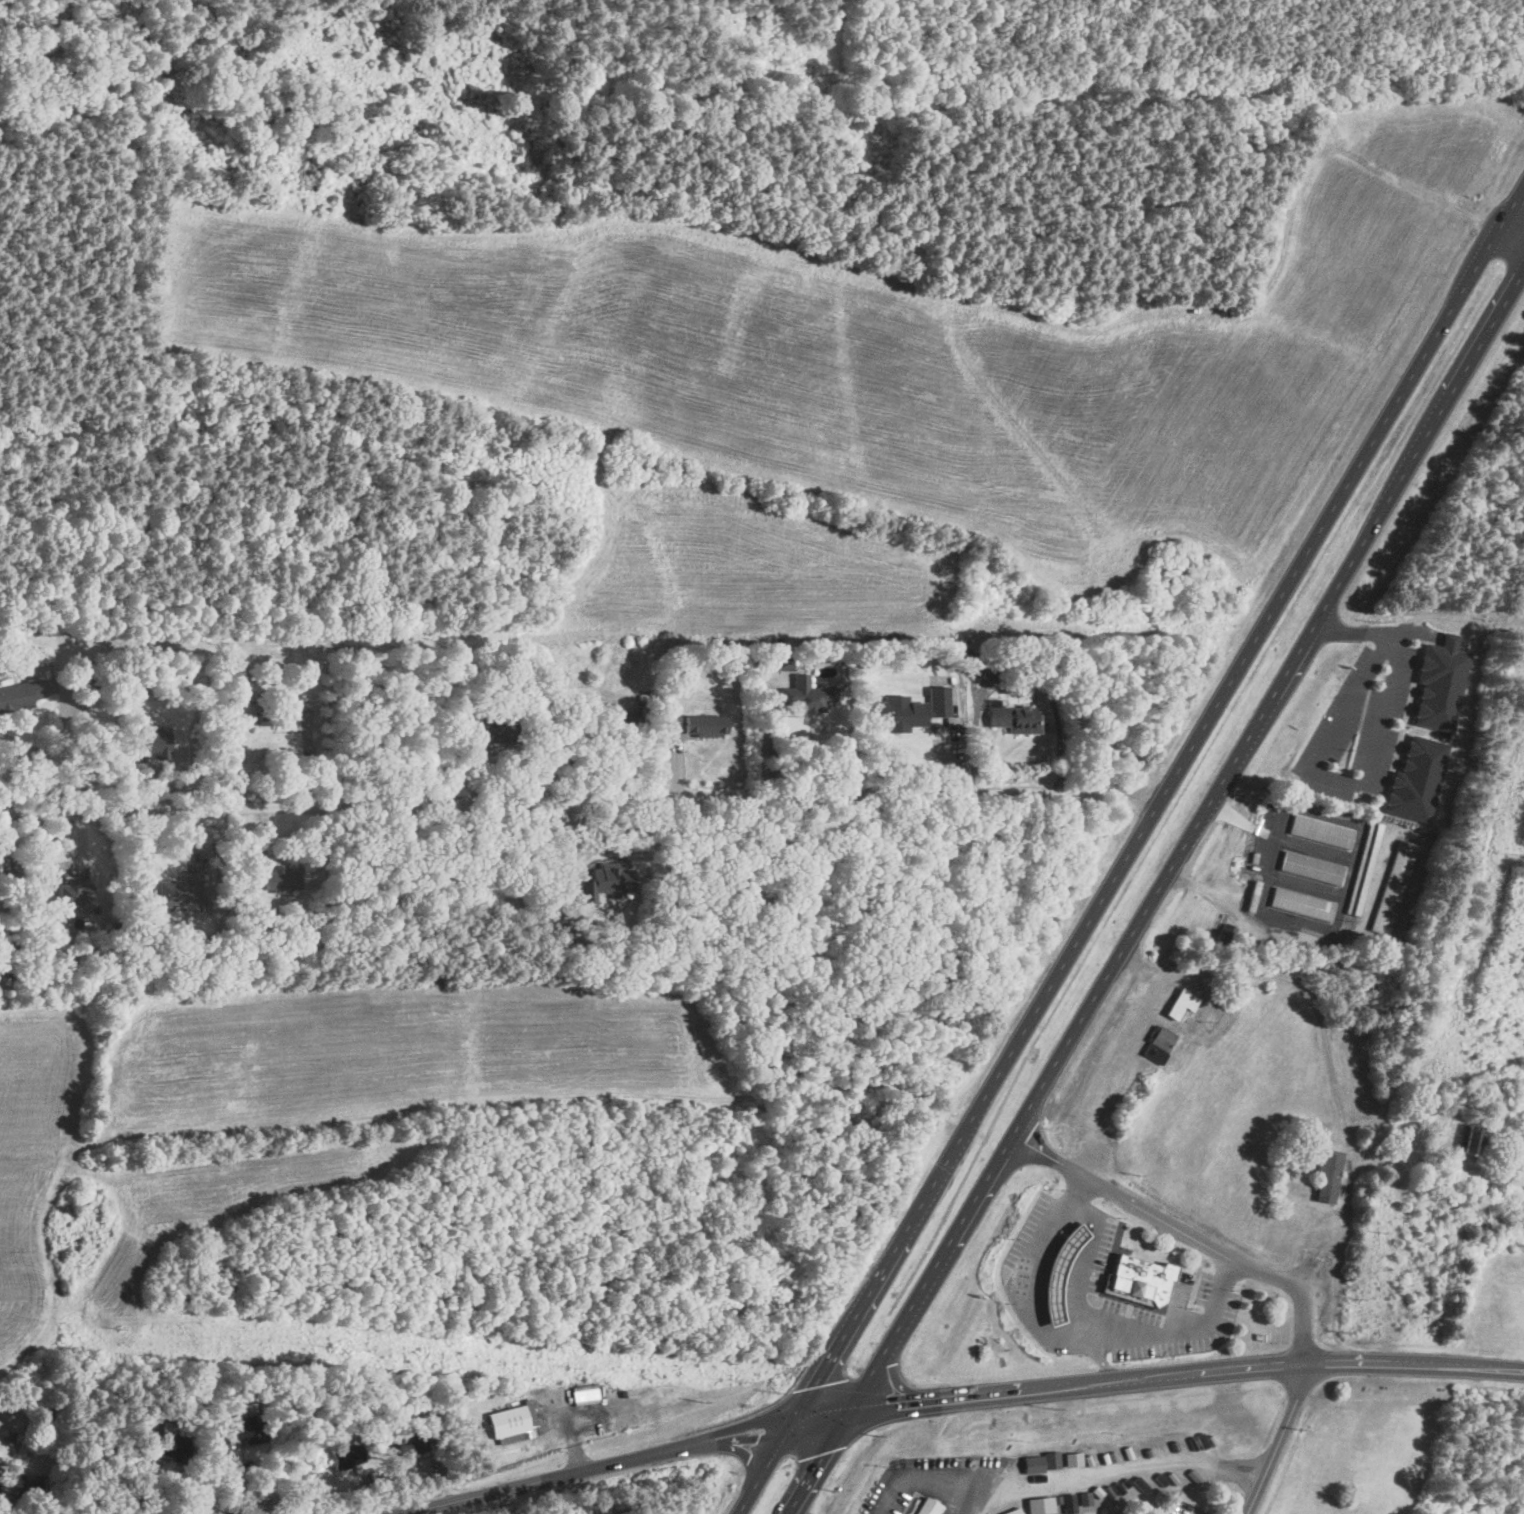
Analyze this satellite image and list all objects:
road: (1511, 234)
building: (778, 660)
building: (979, 662)
building: (85, 671)
road: (1016, 673)
building: (1440, 683)
building: (19, 694)
building: (807, 694)
building: (911, 709)
building: (272, 713)
building: (1013, 716)
building: (672, 721)
building: (705, 723)
building: (625, 724)
building: (490, 726)
building: (151, 741)
road: (1370, 774)
building: (1414, 779)
road: (579, 798)
building: (1320, 830)
road: (1129, 848)
building: (1311, 867)
building: (1363, 867)
building: (275, 878)
building: (606, 879)
building: (1391, 886)
building: (71, 892)
building: (179, 892)
road: (1156, 892)
building: (1300, 902)
road: (1420, 994)
building: (1180, 1002)
building: (1158, 1043)
road: (1119, 1048)
building: (1475, 1139)
building: (1326, 1175)
road: (1190, 1228)
building: (1060, 1272)
building: (1142, 1279)
road: (1029, 1290)
road: (1098, 1323)
road: (1096, 1350)
road: (1342, 1362)
road: (1112, 1374)
traffic signals: (818, 1384)
road: (1114, 1384)
traffic signals: (891, 1405)
building: (511, 1420)
traffic signals: (758, 1430)
building: (240, 1433)
road: (730, 1436)
road: (1282, 1438)
building: (413, 1444)
traffic signals: (822, 1452)
building: (345, 1456)
building: (1028, 1460)
road: (237, 1472)
road: (1064, 1473)
building: (26, 1488)
road: (979, 1496)
building: (926, 1506)
building: (1030, 1508)
building: (1012, 1511)

